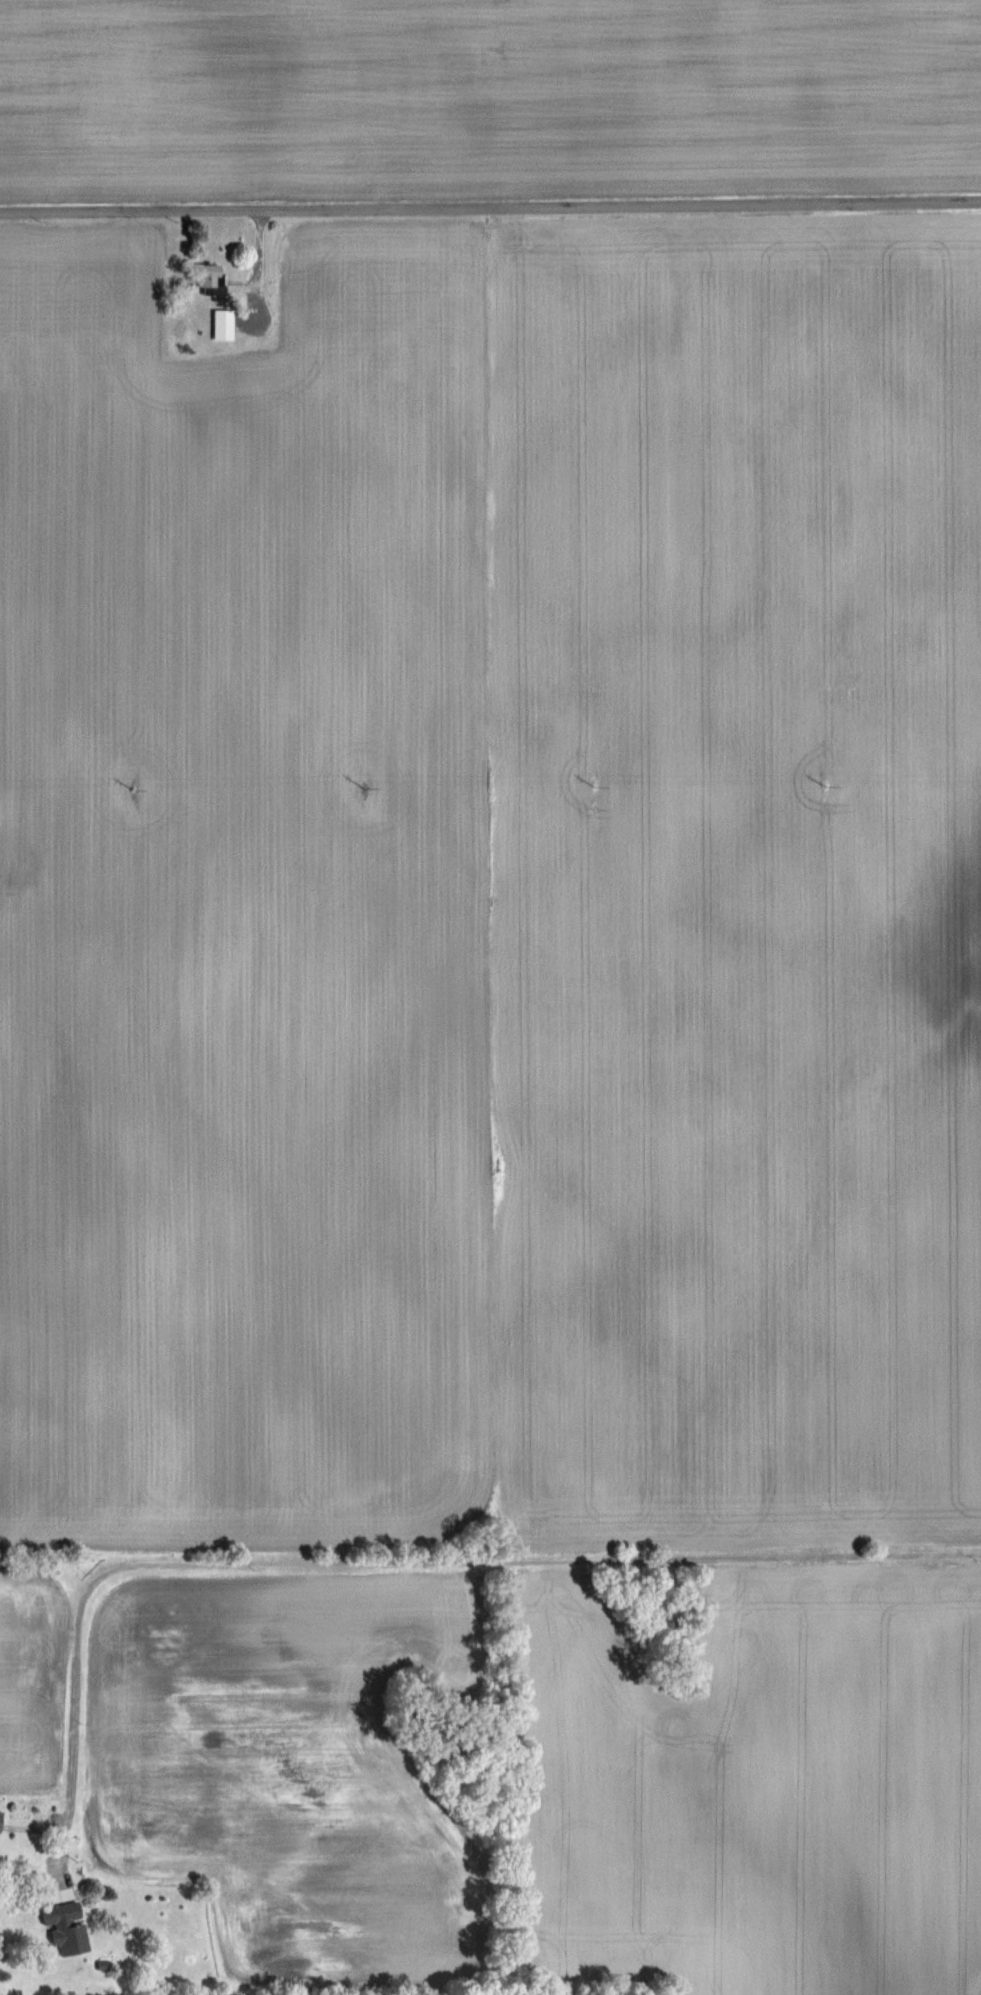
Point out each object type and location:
road: (490, 207)
building: (215, 279)
building: (225, 324)
road: (389, 1562)
building: (2, 1819)
building: (69, 1927)

